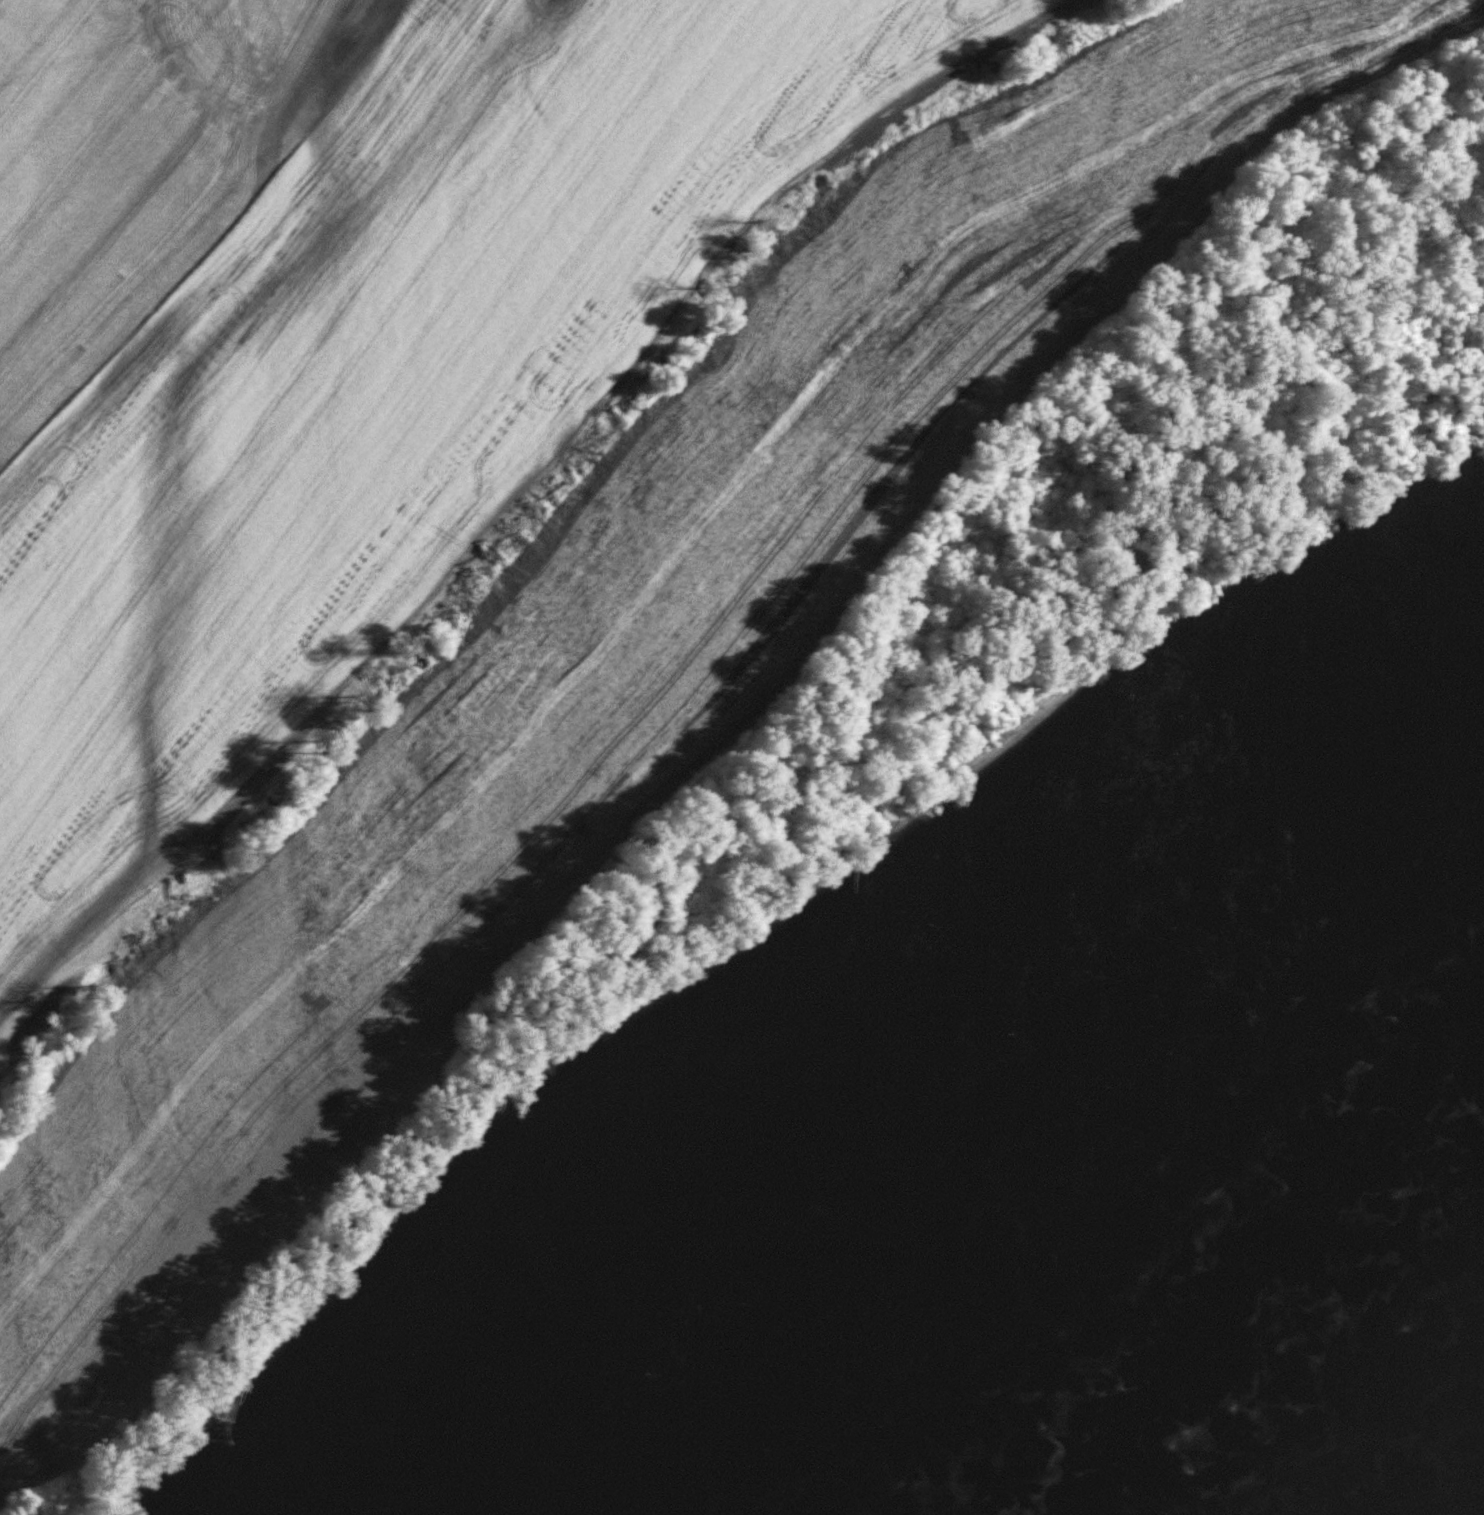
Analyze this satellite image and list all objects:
river: (1240, 1317)

